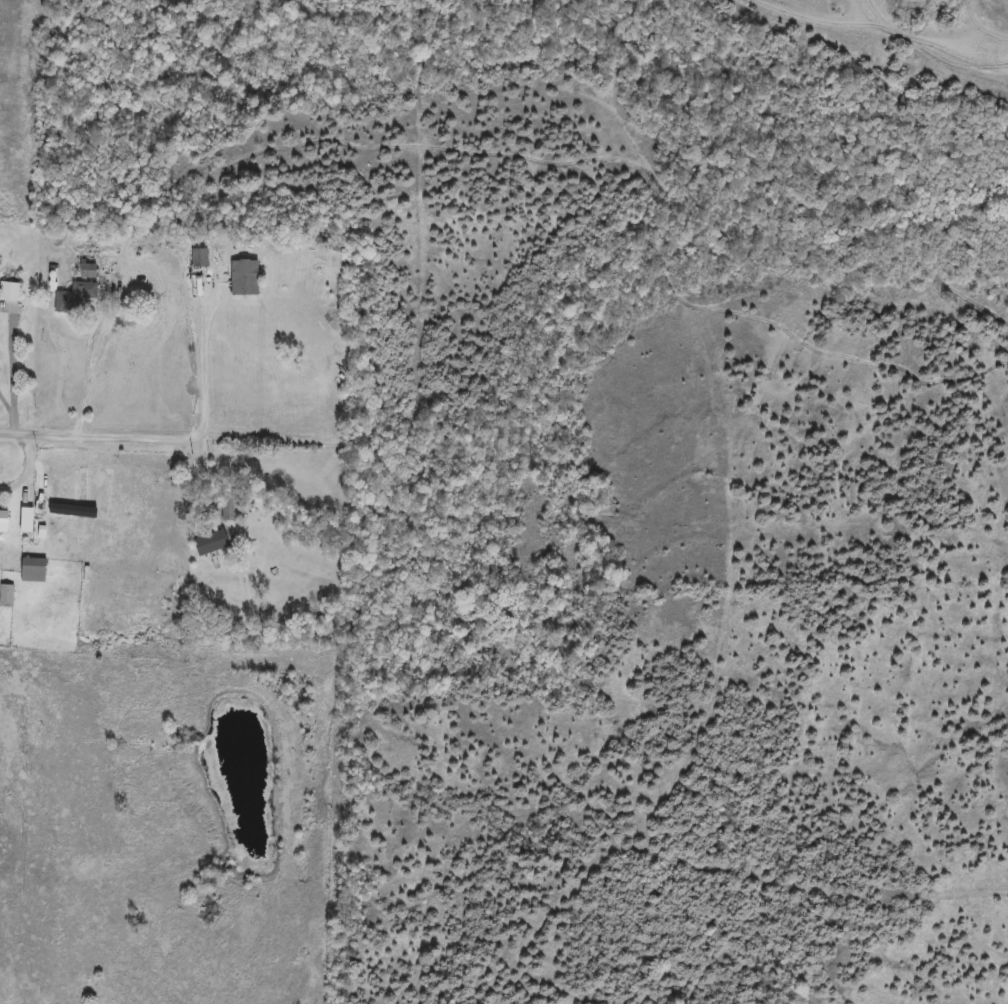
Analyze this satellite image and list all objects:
road: (949, 222)
building: (199, 258)
building: (245, 278)
building: (10, 295)
building: (75, 299)
road: (98, 354)
road: (202, 358)
road: (7, 411)
road: (100, 434)
road: (27, 467)
building: (228, 510)
building: (4, 520)
building: (26, 520)
building: (212, 543)
building: (33, 570)
building: (6, 597)

